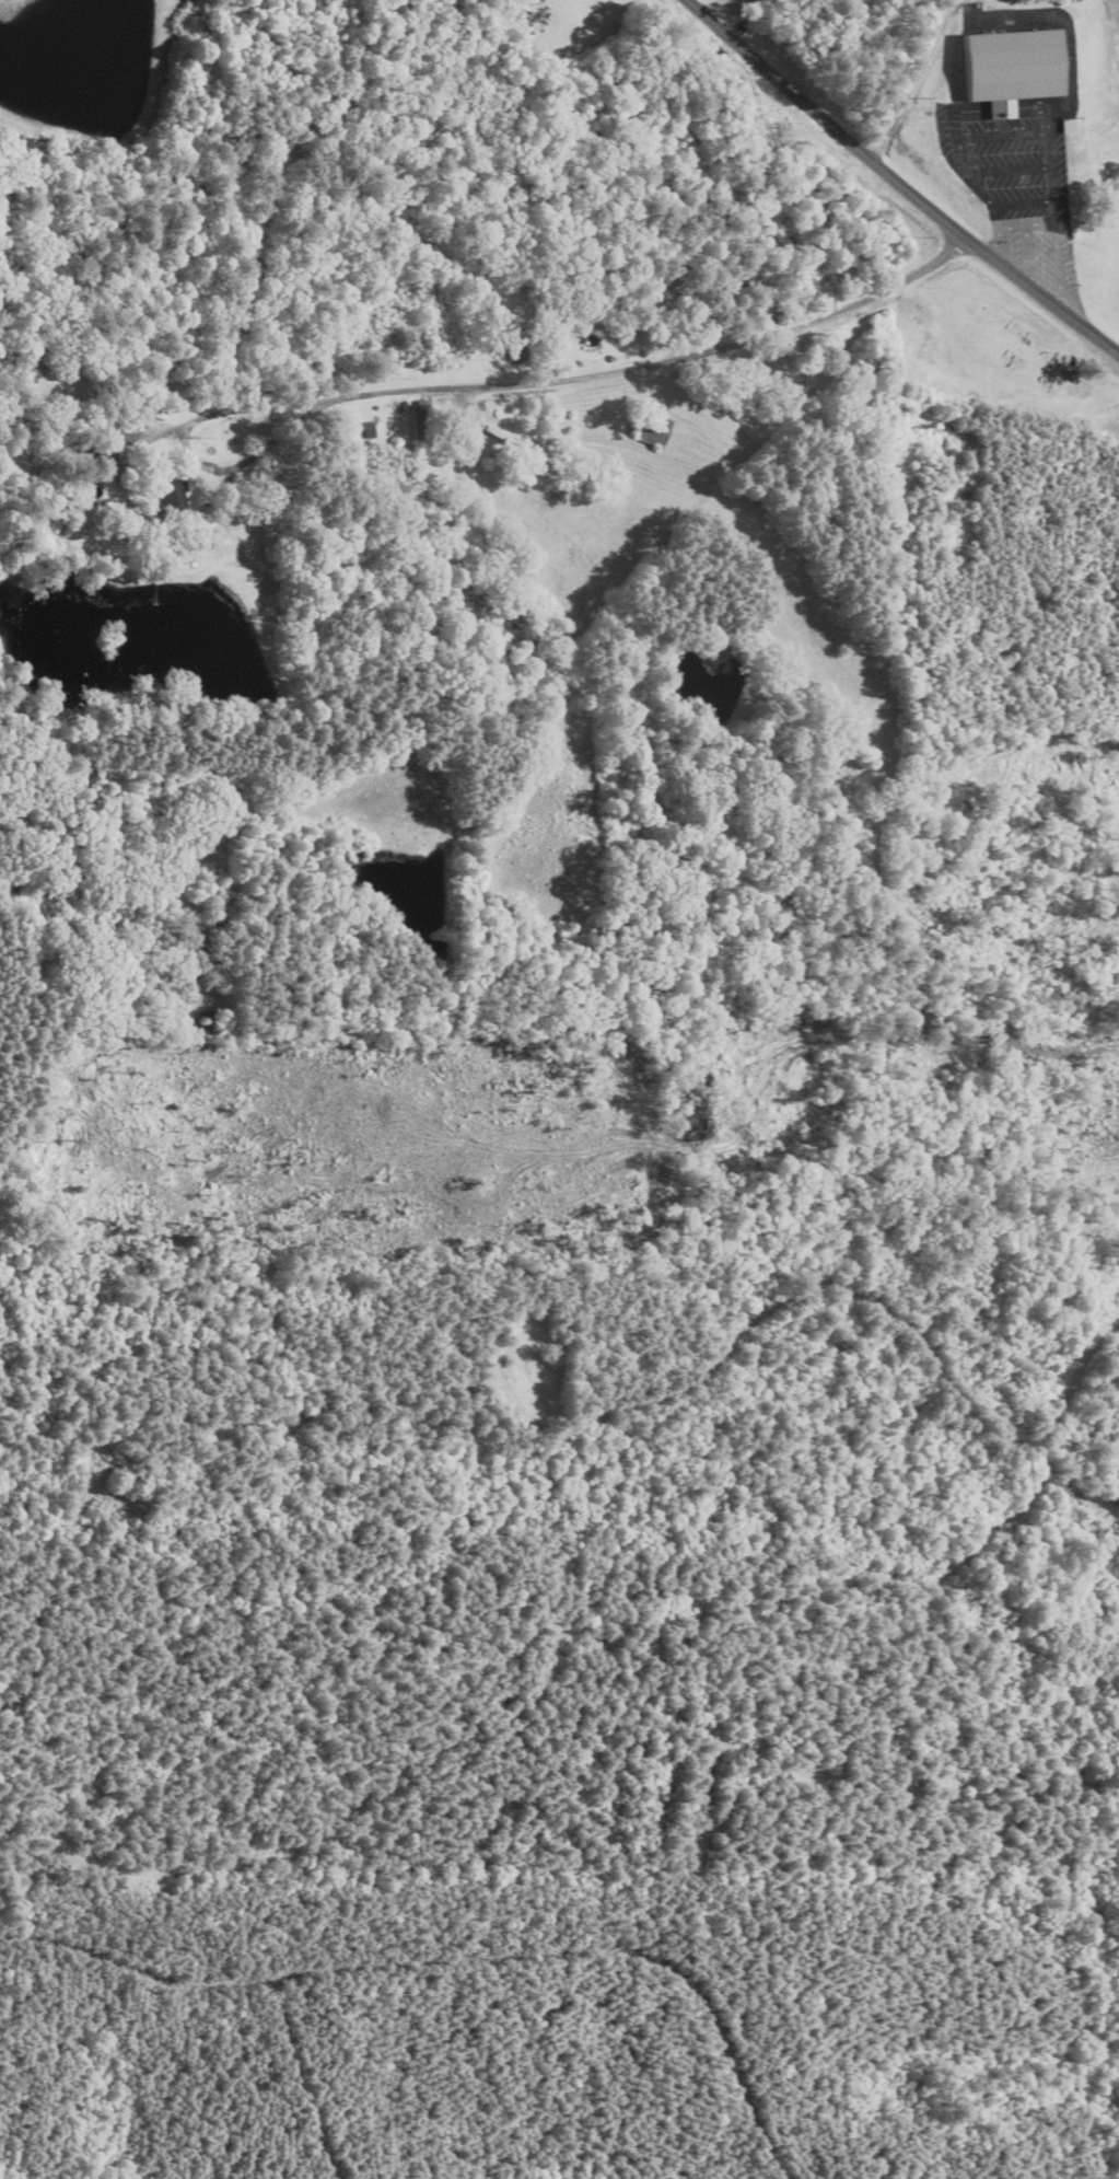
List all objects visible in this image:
building: (532, 1)
building: (1015, 66)
building: (1013, 162)
road: (897, 182)
building: (1081, 184)
road: (587, 373)
building: (423, 420)
building: (137, 424)
building: (658, 433)
building: (173, 497)
road: (431, 1975)

